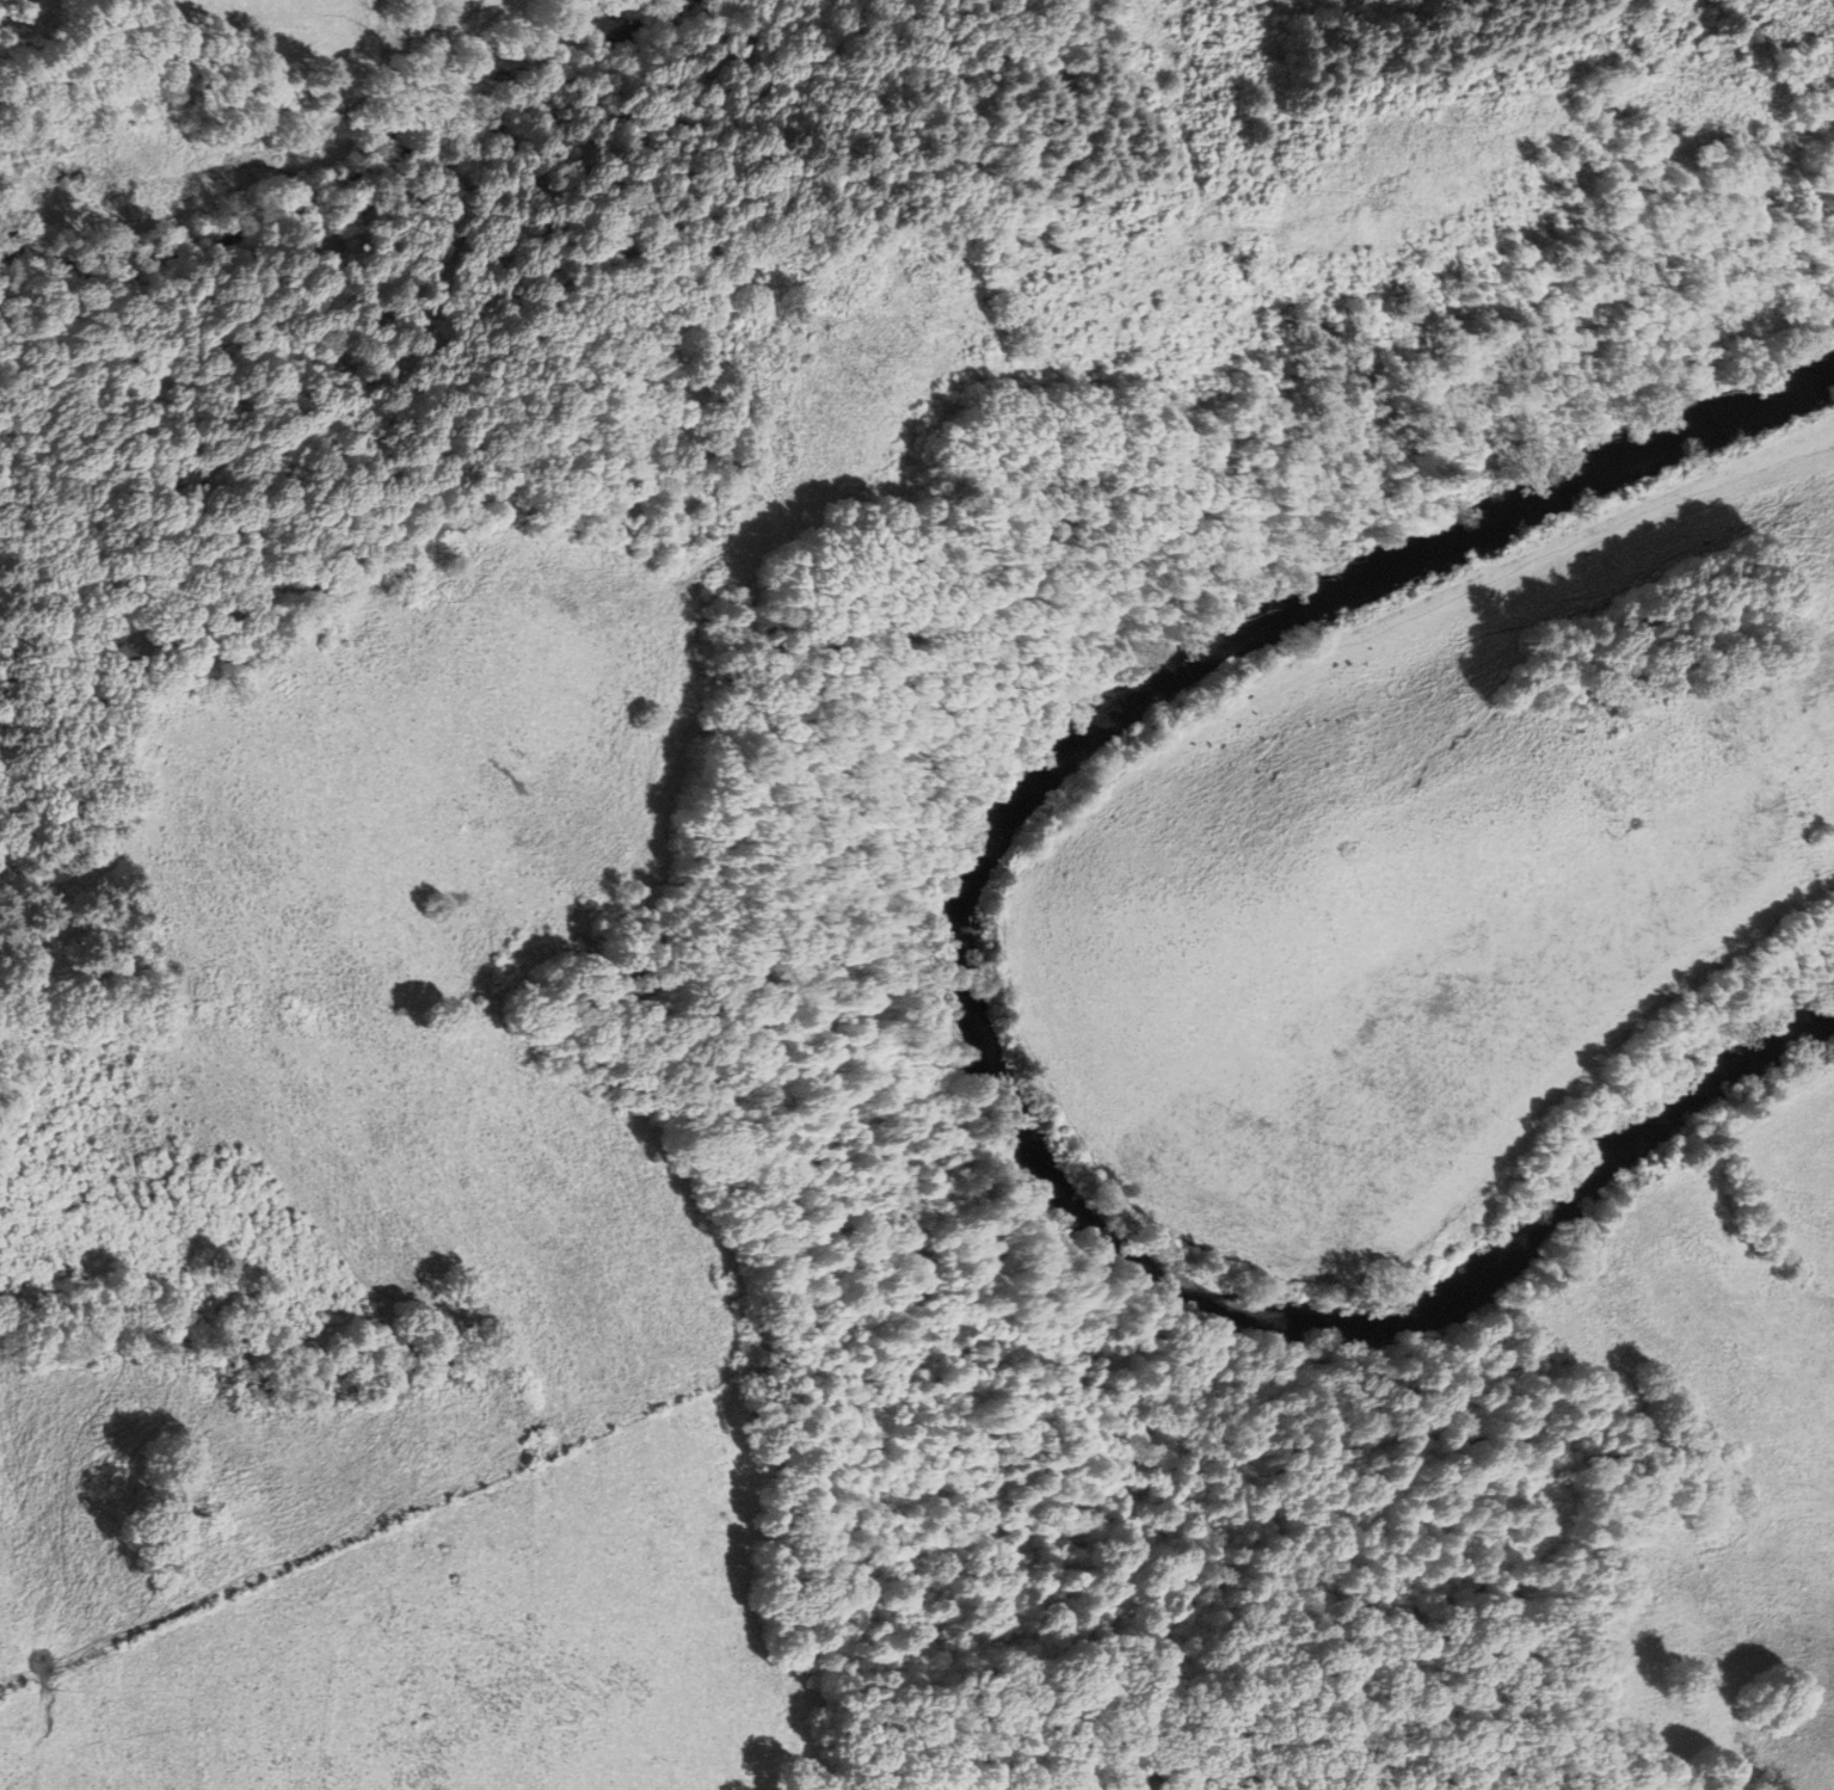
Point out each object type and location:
river: (976, 1042)

